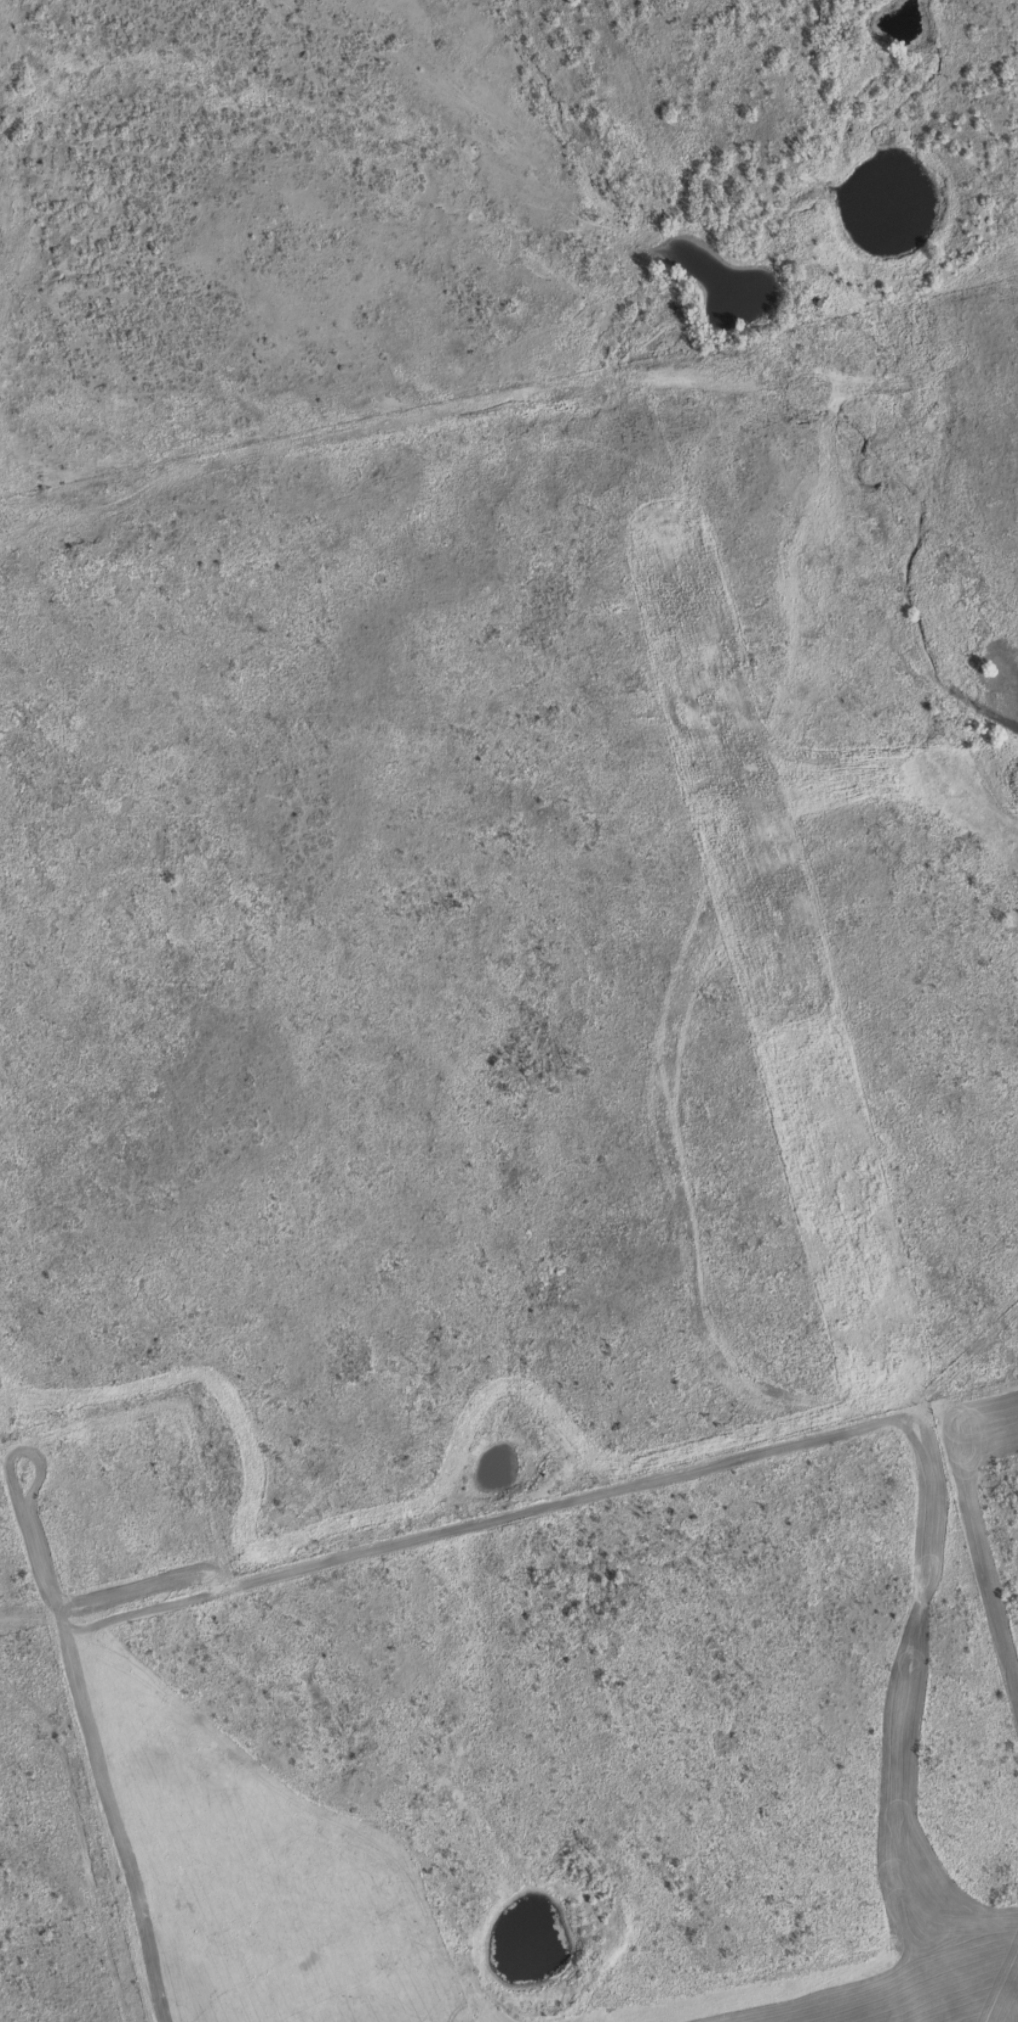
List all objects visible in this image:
road: (888, 86)

